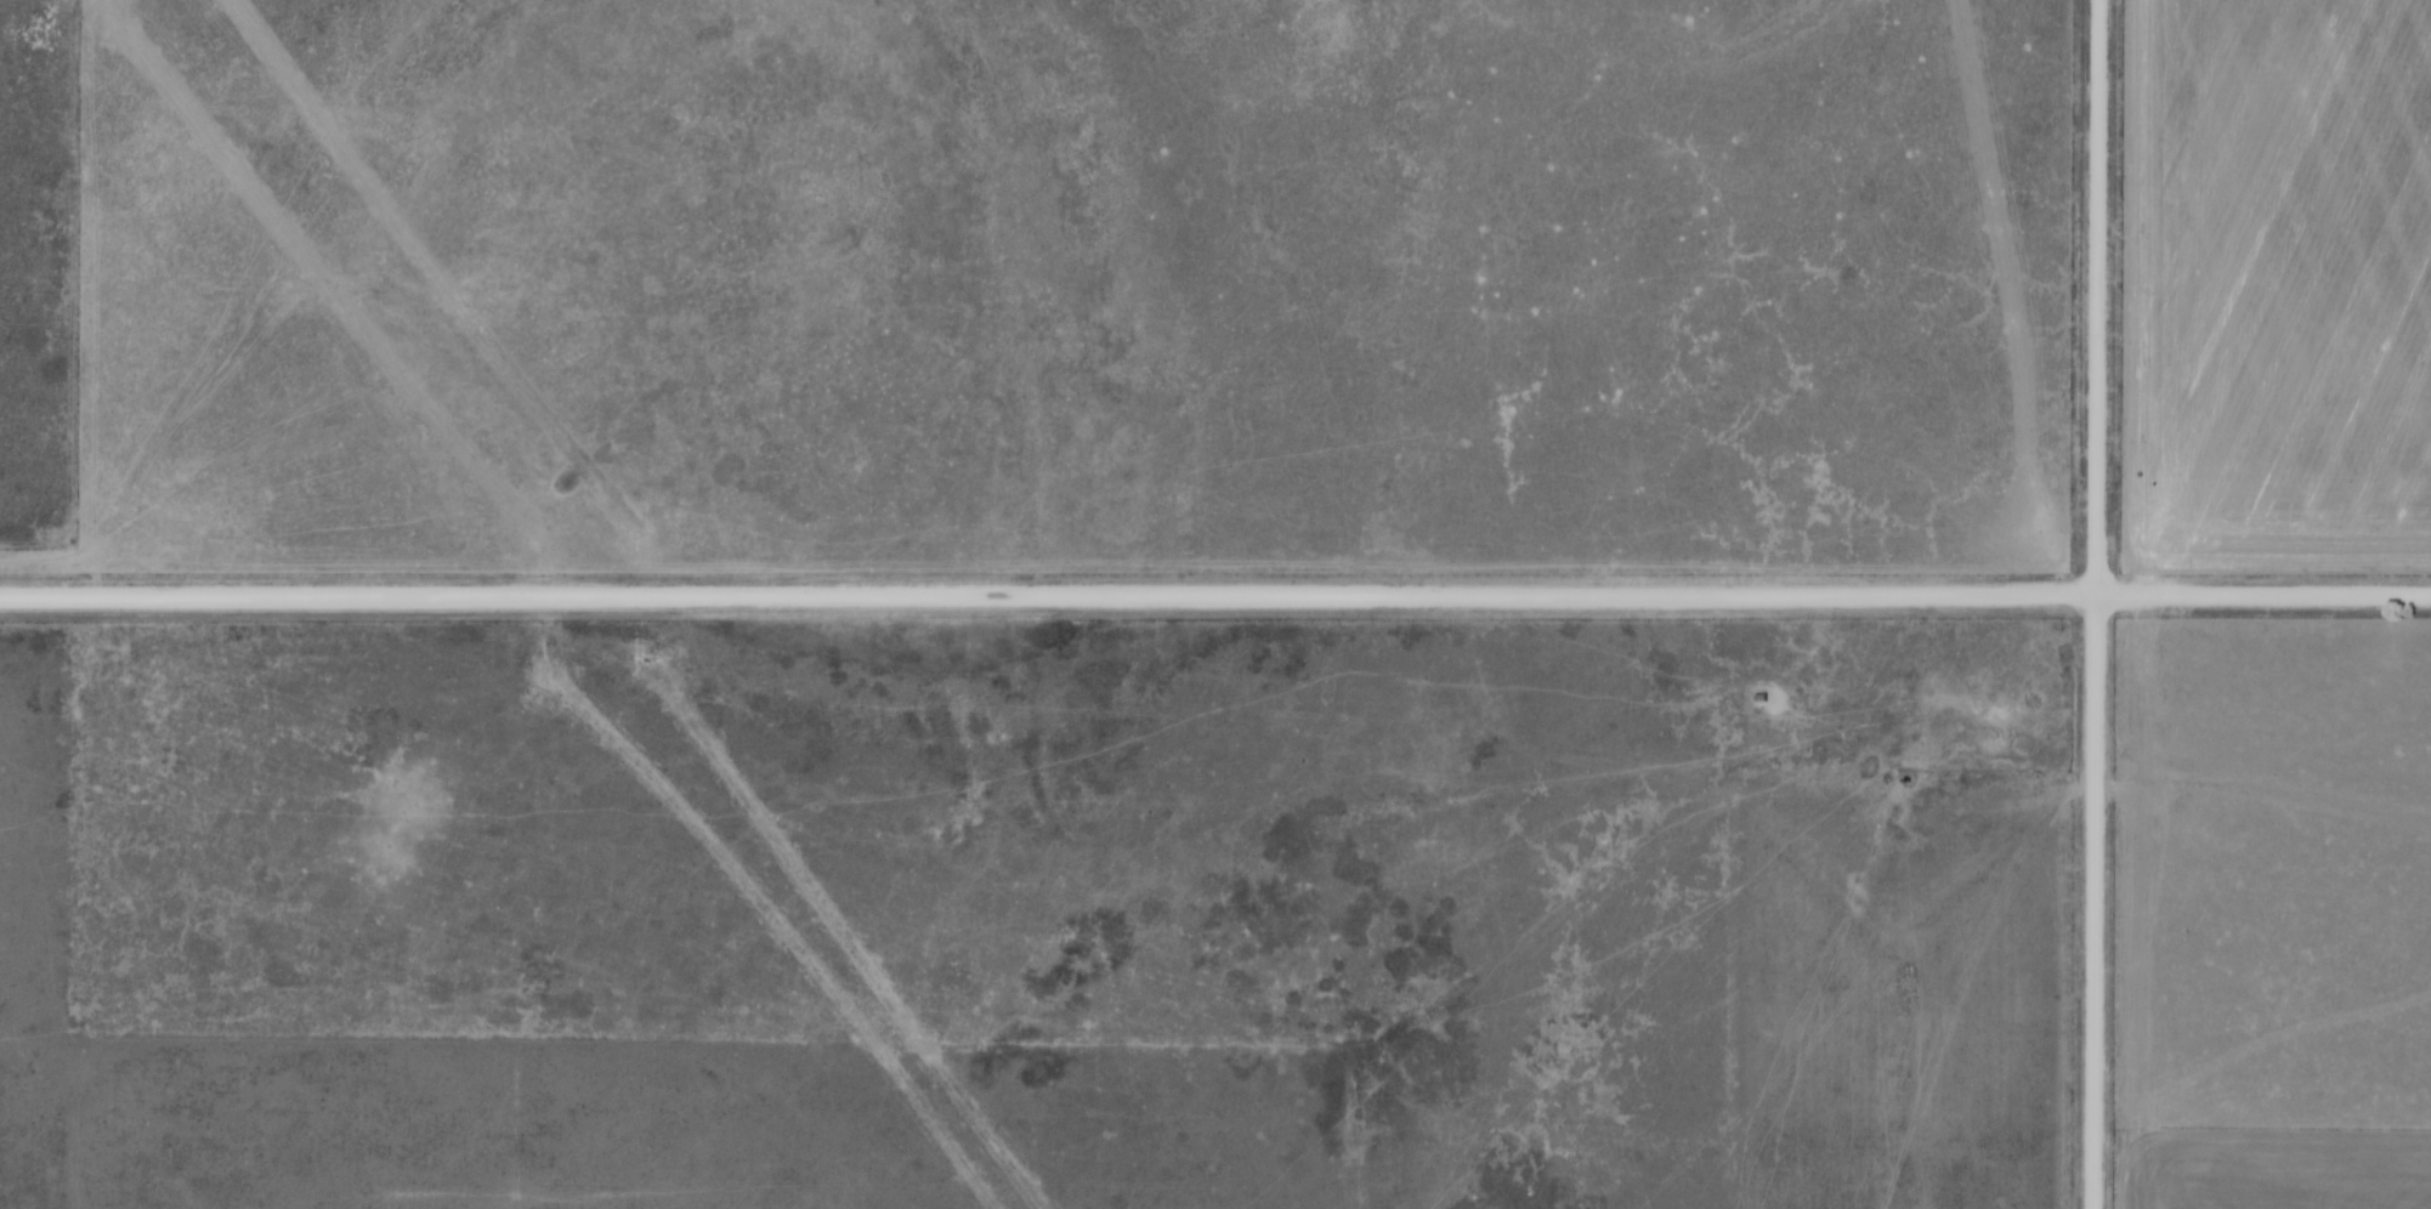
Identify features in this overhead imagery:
road: (1214, 598)
road: (2096, 604)

